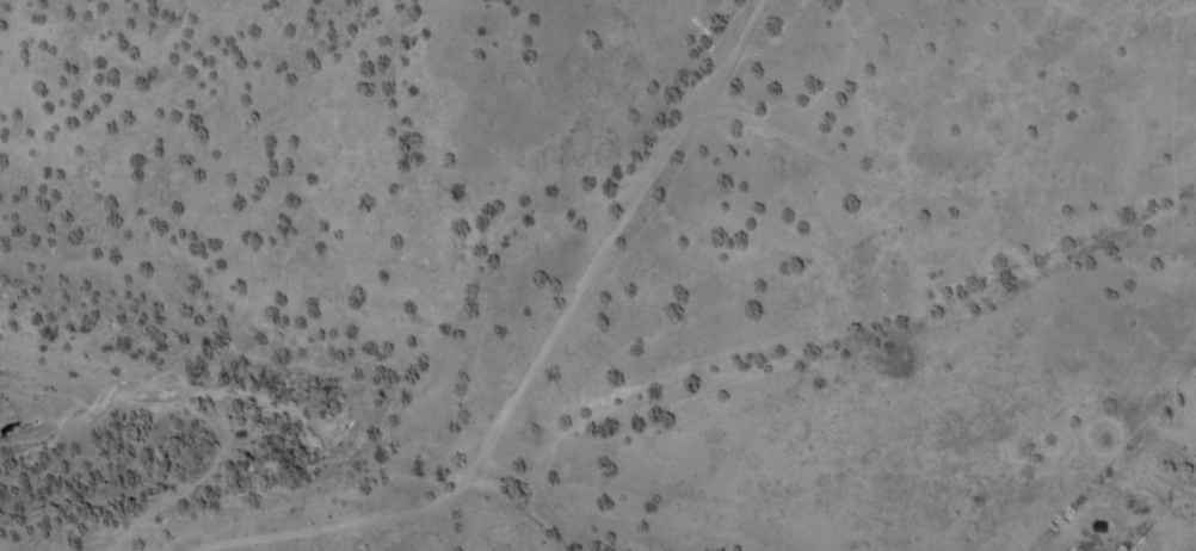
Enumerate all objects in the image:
road: (598, 372)

